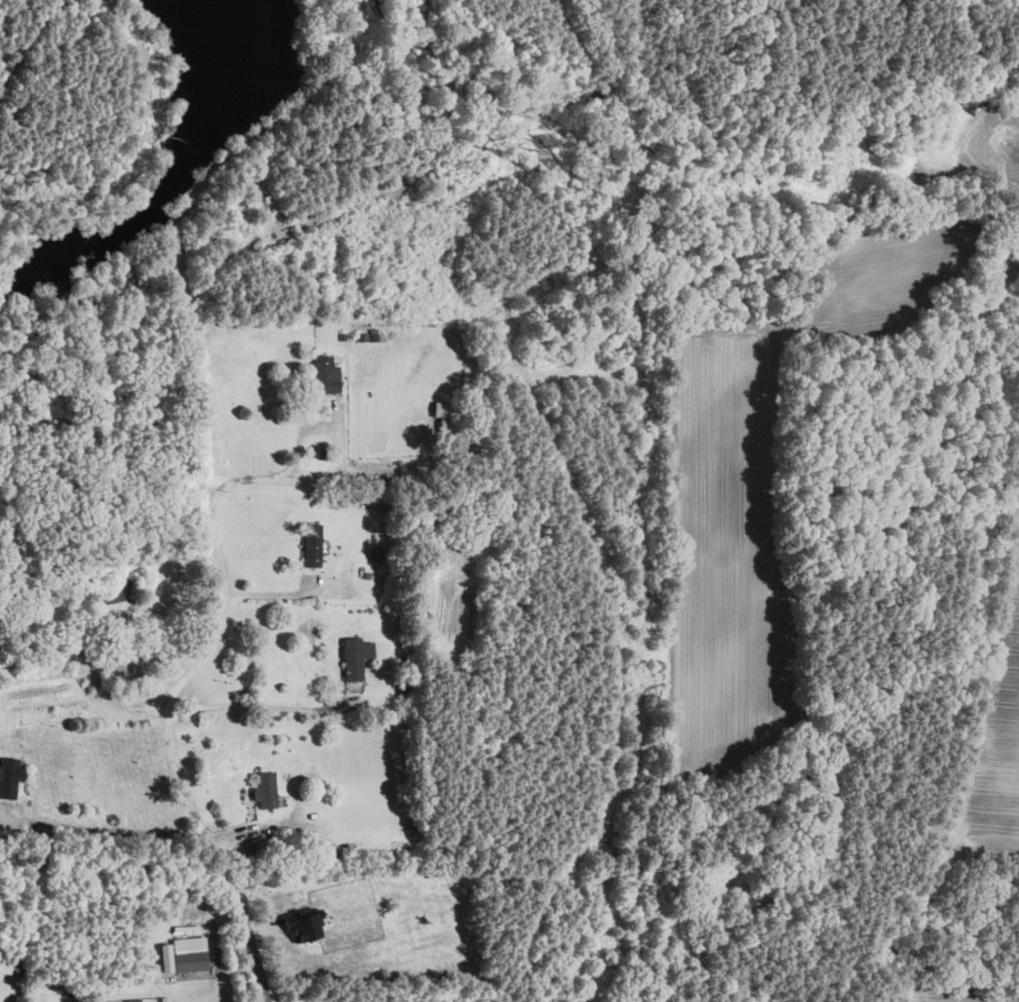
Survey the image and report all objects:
building: (326, 374)
building: (443, 410)
building: (312, 544)
road: (271, 593)
building: (356, 656)
road: (179, 682)
road: (258, 706)
building: (9, 775)
building: (265, 788)
road: (104, 828)
building: (303, 922)
building: (184, 954)
building: (5, 966)
building: (132, 1000)

